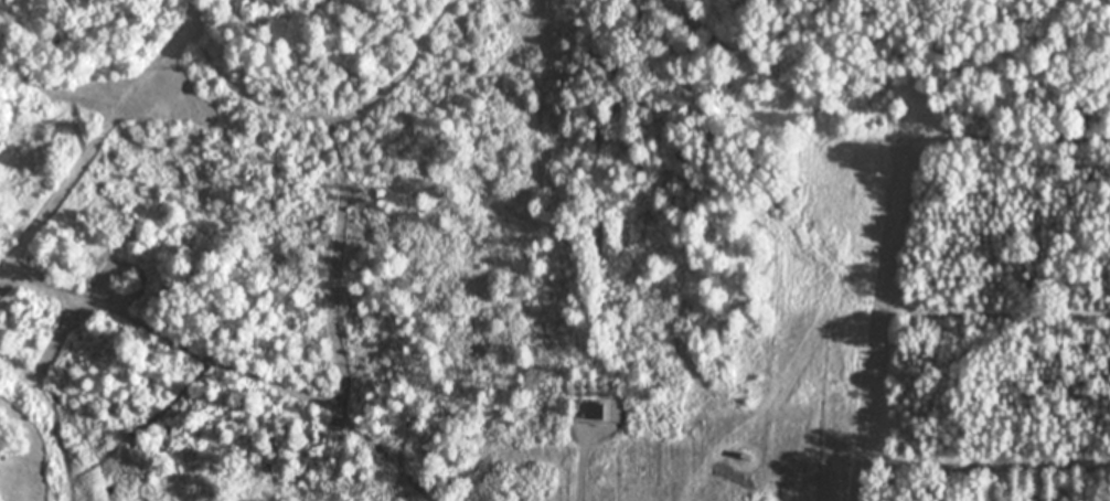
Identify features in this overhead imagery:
road: (583, 469)

